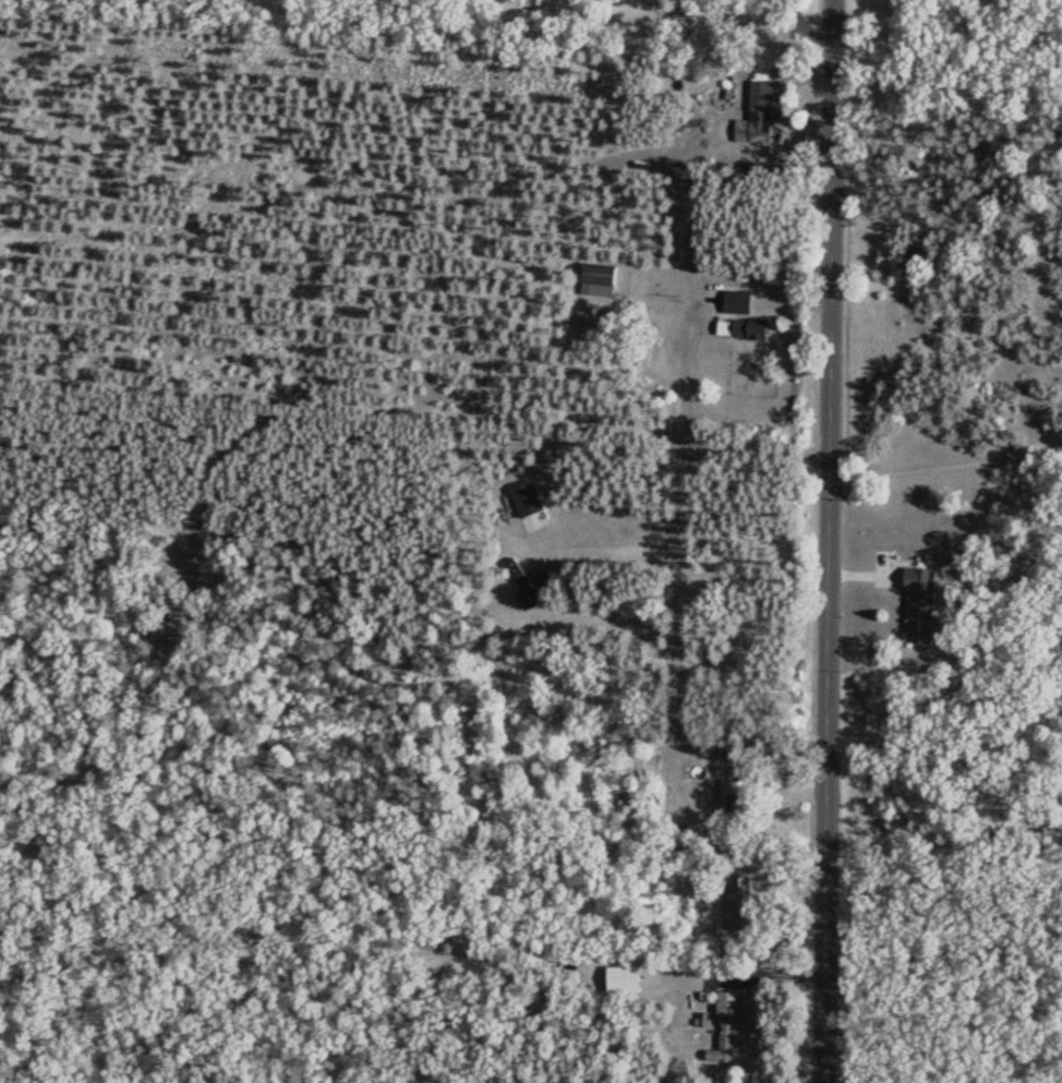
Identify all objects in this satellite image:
building: (764, 98)
building: (603, 282)
building: (729, 327)
building: (535, 520)
road: (830, 541)
building: (918, 601)
building: (737, 796)
building: (738, 901)
building: (623, 977)
building: (725, 1027)

